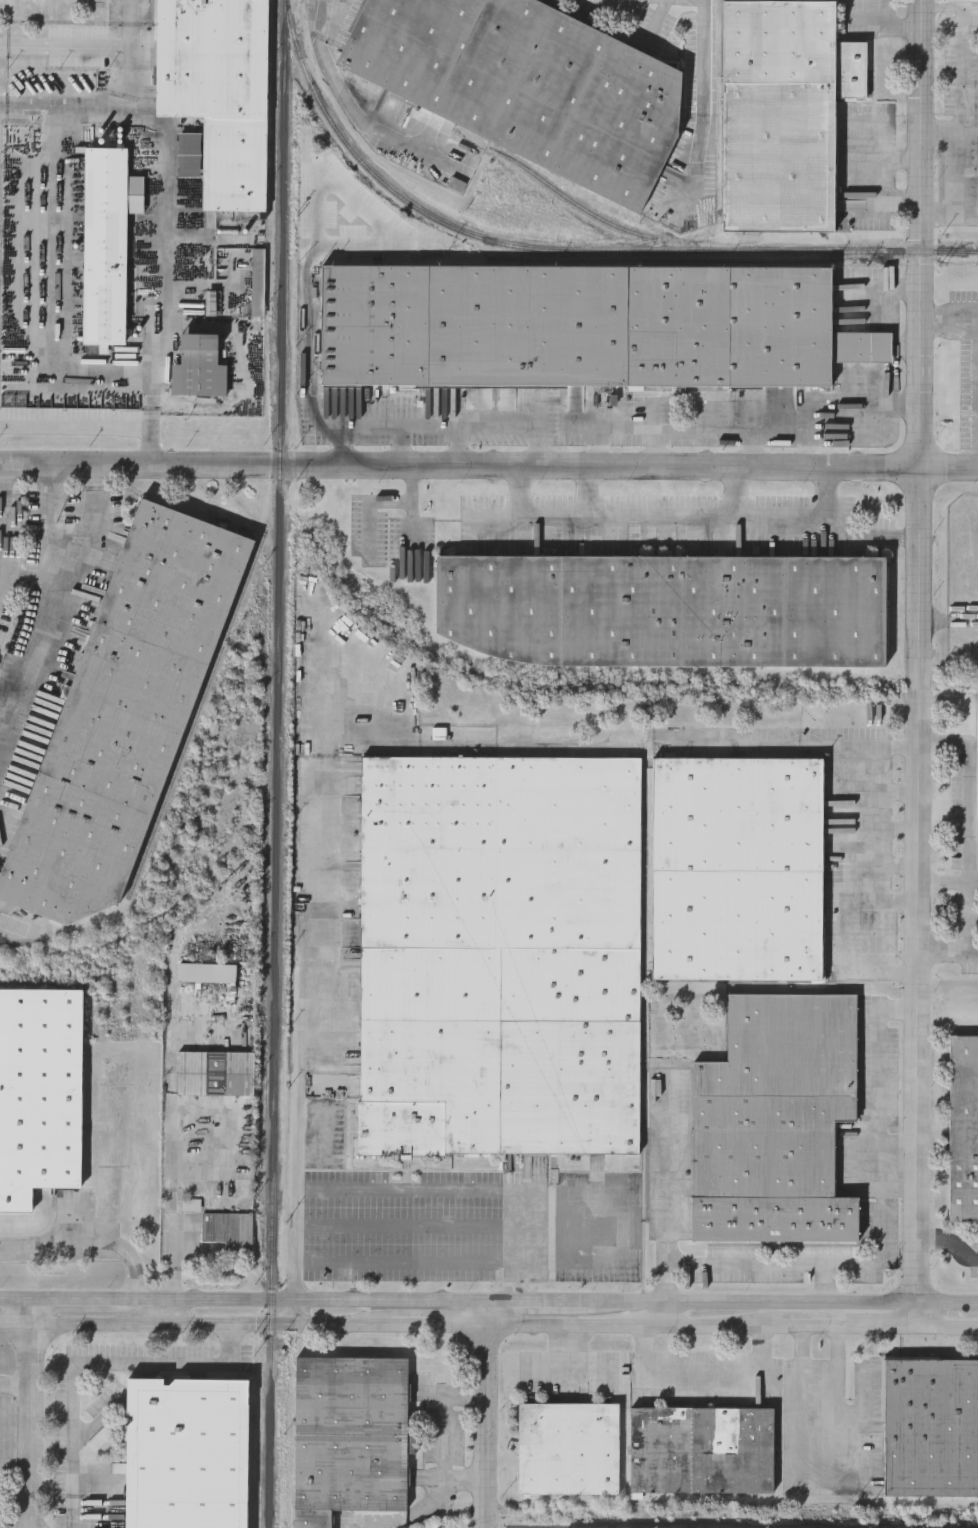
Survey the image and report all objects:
road: (324, 2)
road: (891, 20)
road: (132, 22)
building: (524, 85)
building: (218, 92)
road: (703, 94)
road: (24, 105)
road: (89, 107)
road: (964, 110)
building: (783, 114)
road: (942, 132)
road: (888, 136)
railway: (531, 172)
road: (889, 183)
building: (105, 247)
railway: (566, 252)
building: (259, 284)
road: (862, 315)
road: (156, 319)
road: (948, 319)
building: (584, 328)
railway: (281, 351)
road: (313, 361)
building: (198, 369)
road: (153, 420)
road: (436, 430)
road: (759, 435)
road: (489, 467)
road: (96, 475)
road: (3, 477)
road: (590, 491)
road: (740, 492)
road: (47, 493)
road: (1, 513)
road: (672, 513)
road: (866, 536)
road: (49, 547)
road: (55, 593)
building: (664, 611)
road: (920, 663)
road: (7, 709)
railway: (197, 715)
building: (124, 717)
road: (892, 790)
road: (969, 810)
road: (892, 830)
road: (891, 864)
building: (737, 870)
road: (863, 874)
road: (944, 878)
road: (890, 900)
road: (971, 937)
road: (948, 955)
building: (500, 957)
building: (208, 975)
park: (685, 1024)
building: (216, 1075)
road: (295, 1091)
building: (39, 1096)
railway: (273, 1116)
building: (775, 1123)
building: (963, 1130)
road: (882, 1144)
road: (899, 1159)
road: (421, 1190)
road: (405, 1226)
building: (229, 1232)
road: (88, 1244)
road: (949, 1244)
road: (743, 1262)
road: (404, 1264)
road: (16, 1298)
road: (92, 1299)
road: (317, 1299)
road: (535, 1300)
road: (783, 1301)
road: (136, 1311)
road: (293, 1312)
road: (668, 1314)
road: (489, 1326)
road: (91, 1362)
road: (557, 1365)
road: (820, 1366)
road: (704, 1379)
road: (15, 1383)
road: (30, 1413)
road: (481, 1413)
building: (930, 1430)
building: (349, 1438)
road: (451, 1438)
building: (568, 1451)
building: (701, 1451)
building: (184, 1454)

